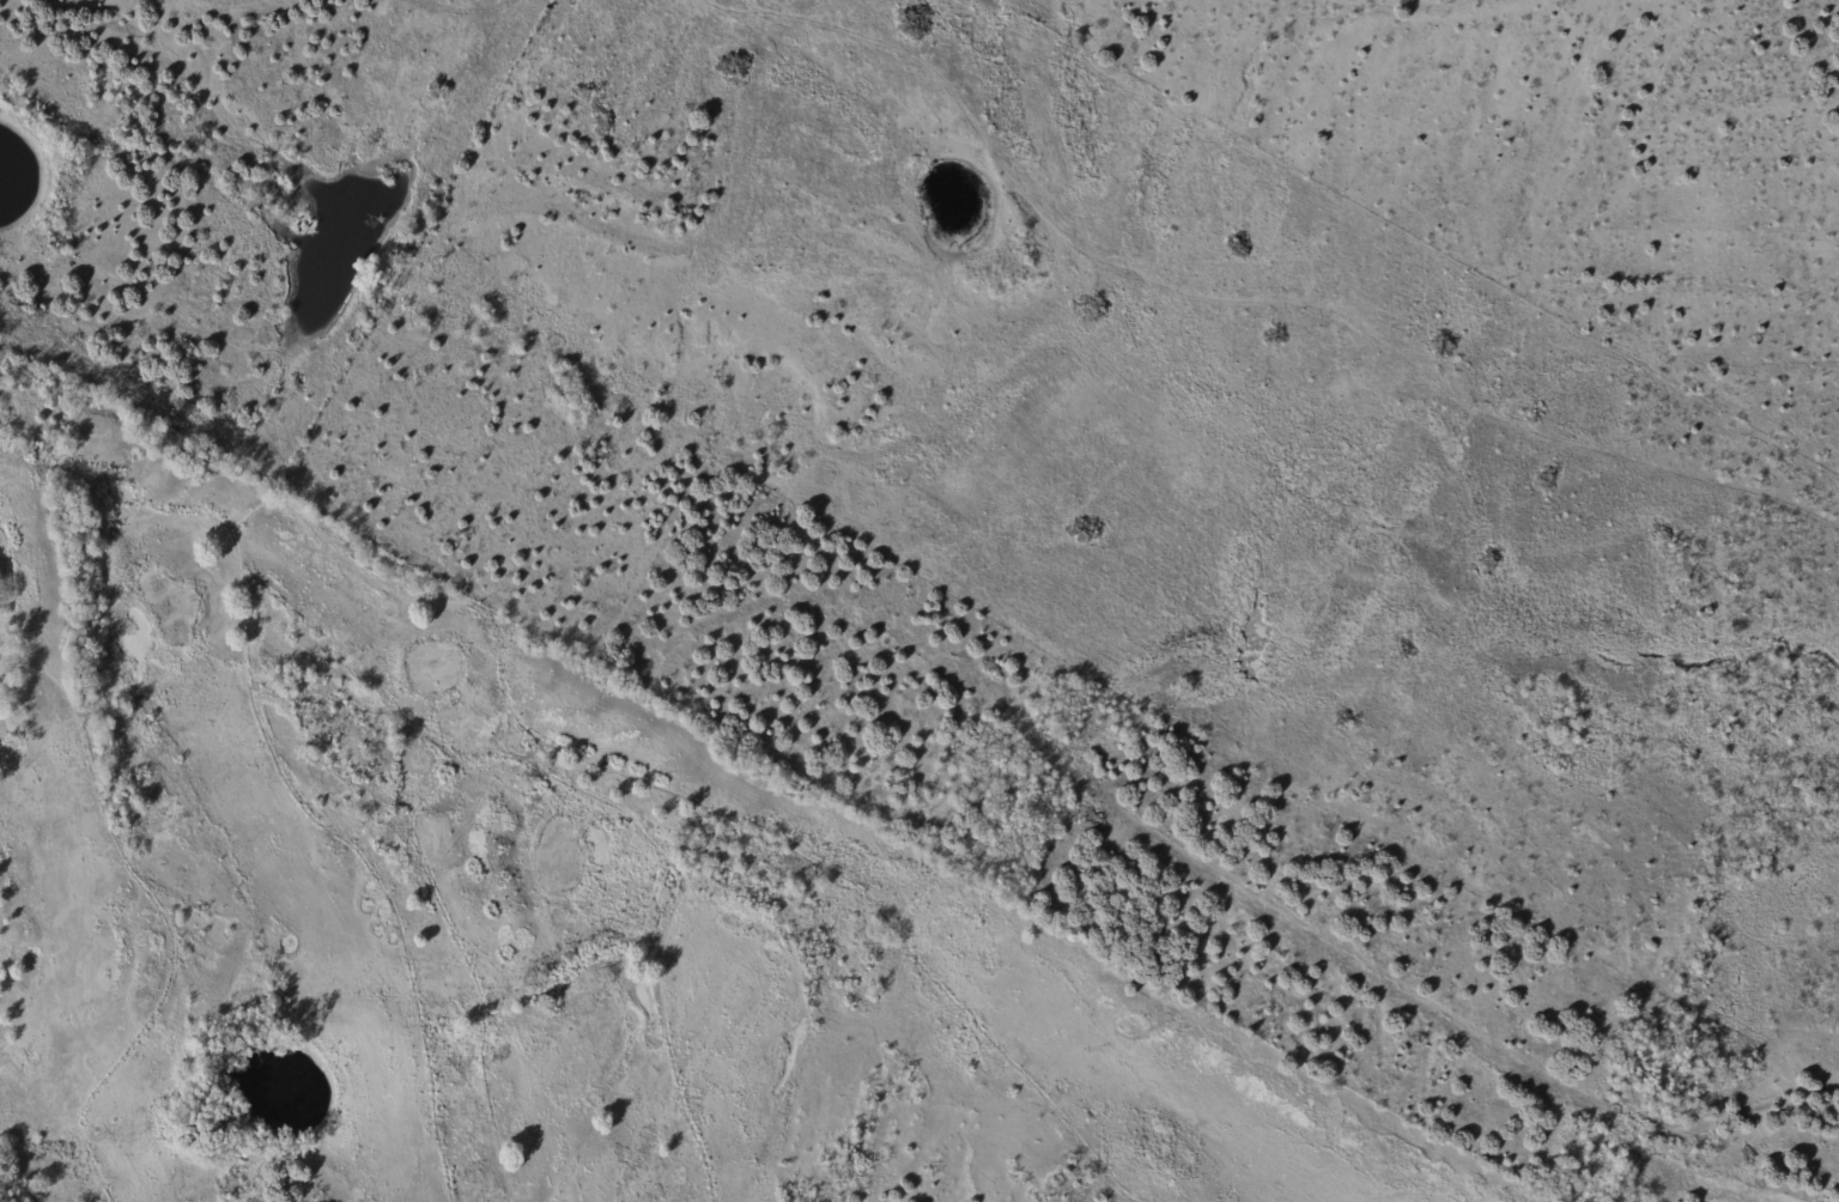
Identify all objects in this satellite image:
road: (108, 492)
road: (522, 763)
road: (687, 799)
road: (315, 821)
road: (128, 872)
park: (516, 911)

